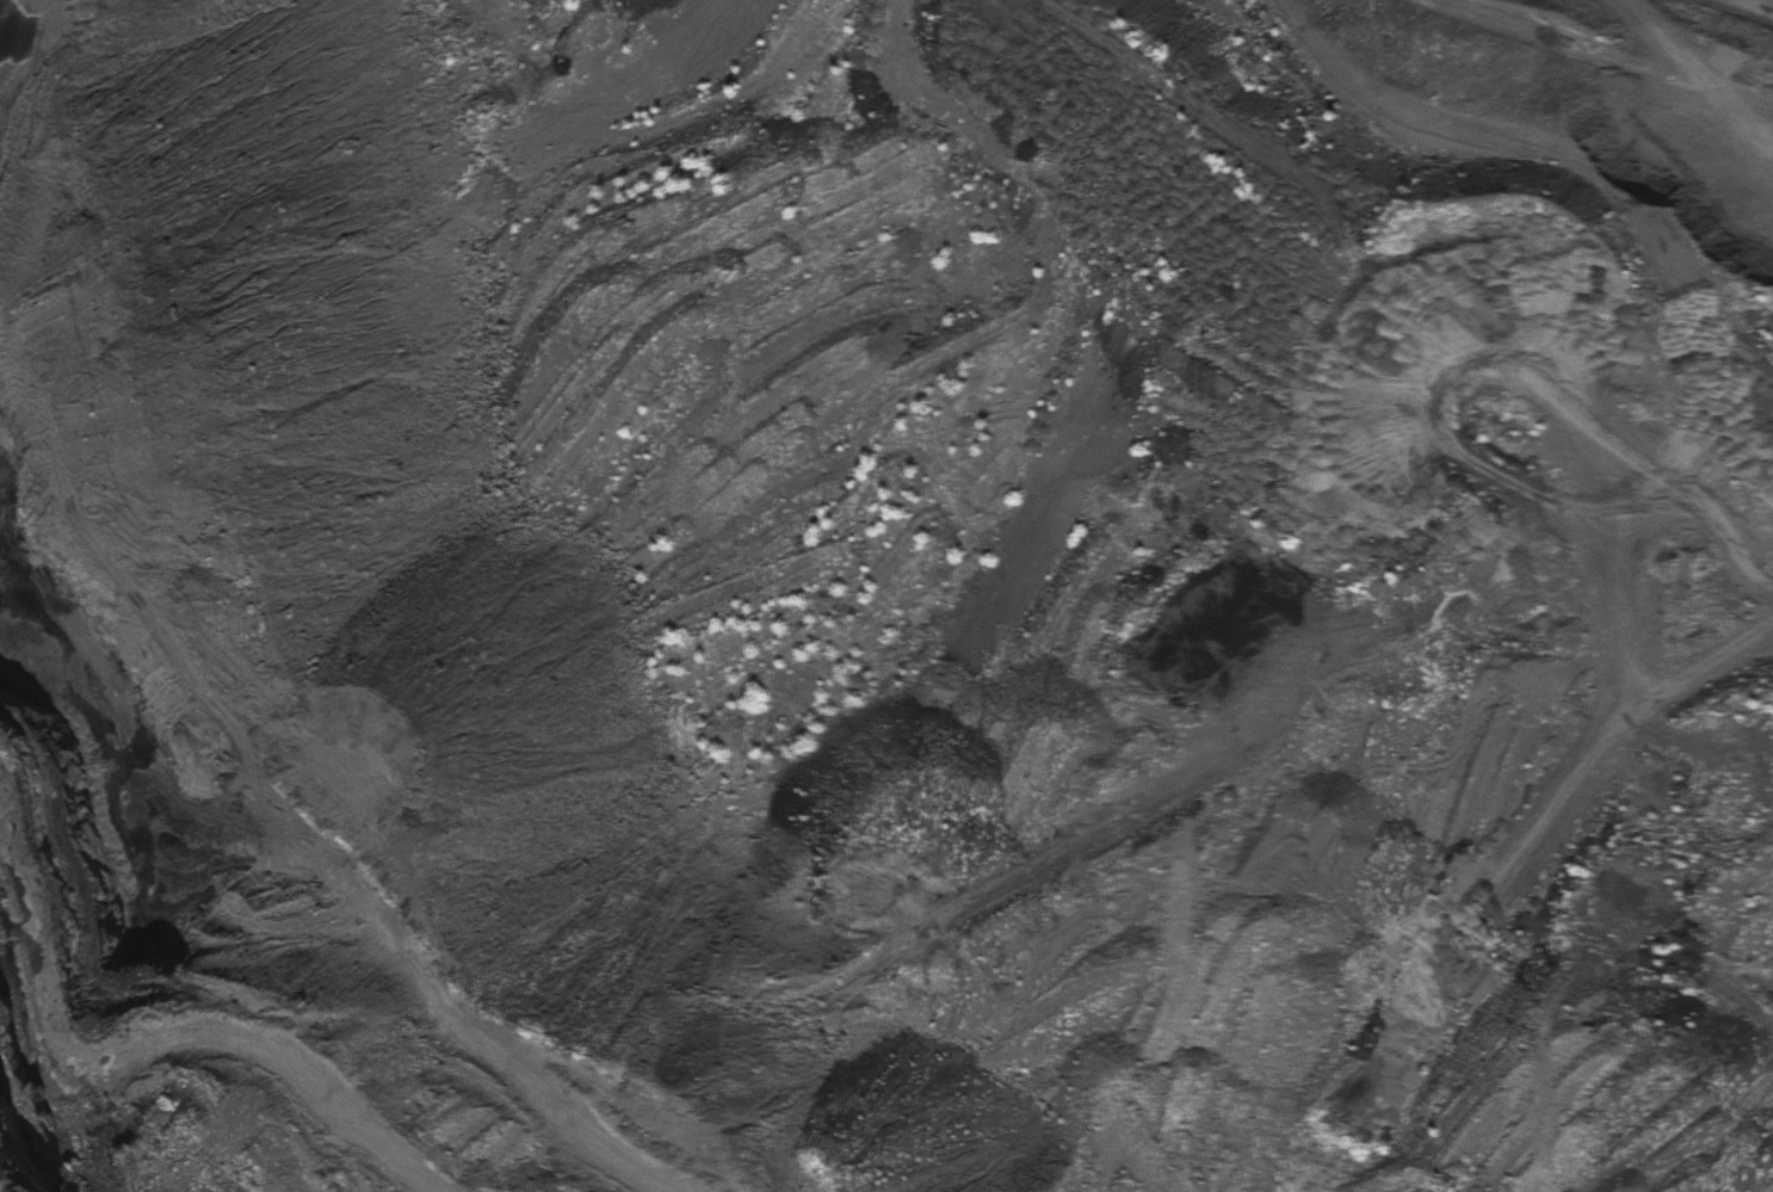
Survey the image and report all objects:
road: (1649, 63)
quarry: (886, 595)

